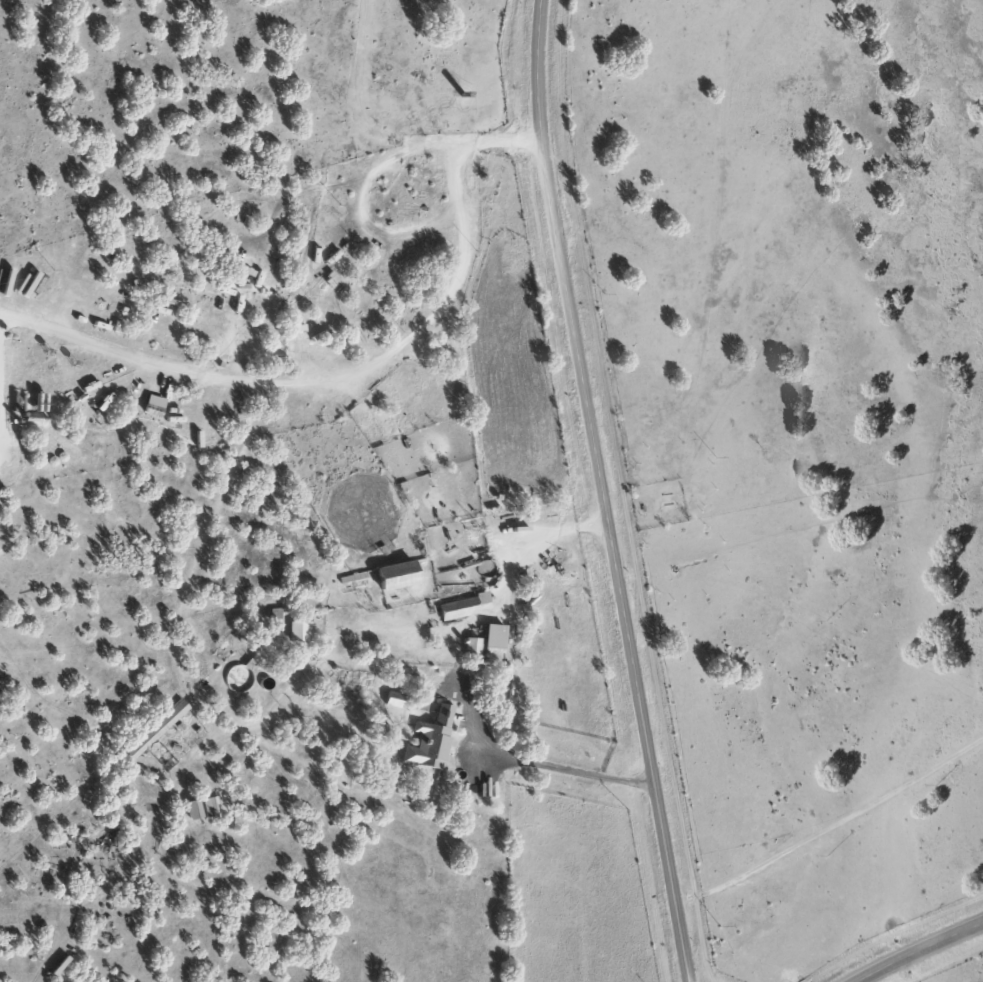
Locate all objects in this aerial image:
road: (343, 375)
road: (602, 492)
road: (441, 522)
building: (394, 576)
building: (458, 608)
building: (298, 631)
building: (491, 637)
building: (472, 649)
building: (237, 679)
building: (390, 699)
building: (153, 729)
building: (428, 740)
building: (209, 808)
building: (190, 810)
road: (925, 951)

